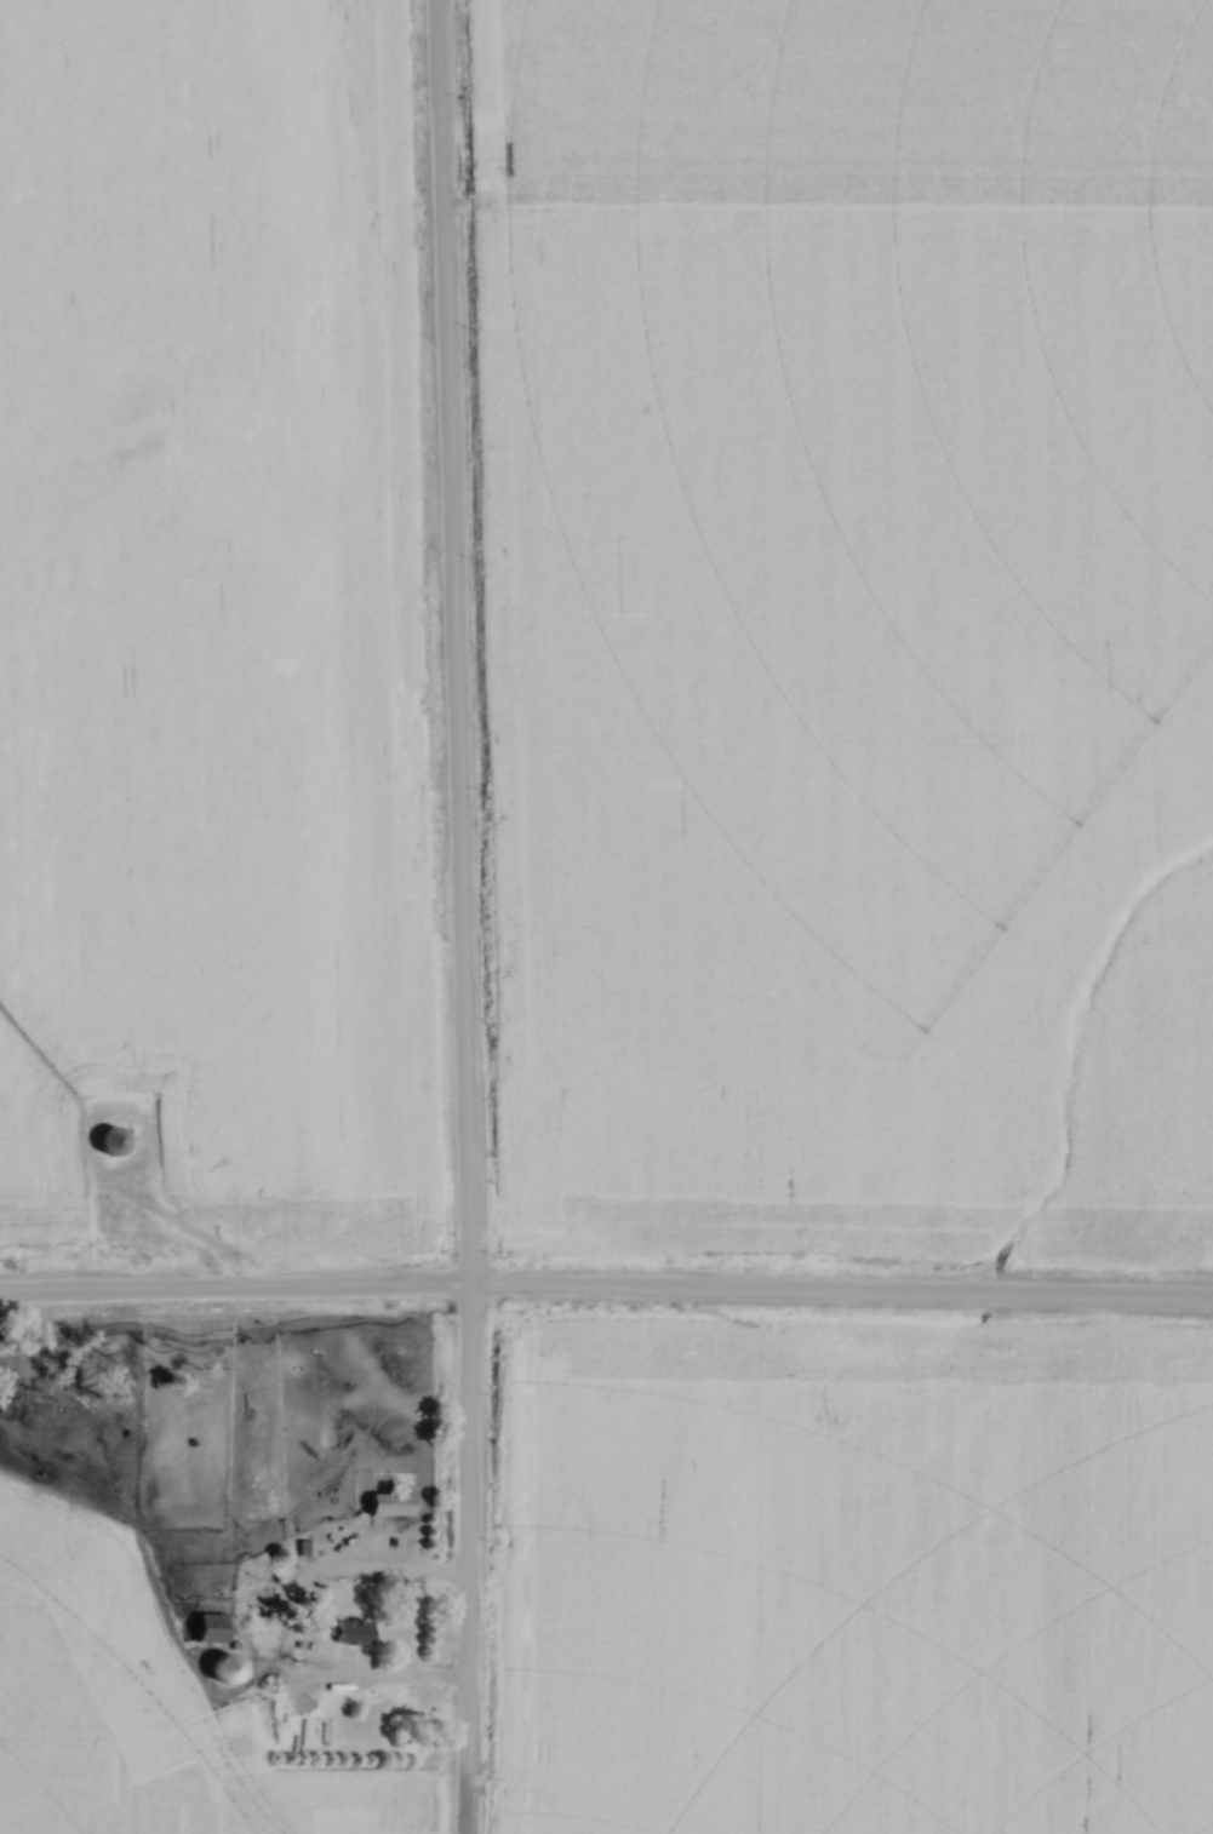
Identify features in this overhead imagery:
road: (457, 916)
building: (114, 1141)
road: (606, 1295)
building: (389, 1506)
building: (211, 1628)
building: (351, 1632)
road: (256, 1641)
building: (225, 1670)

